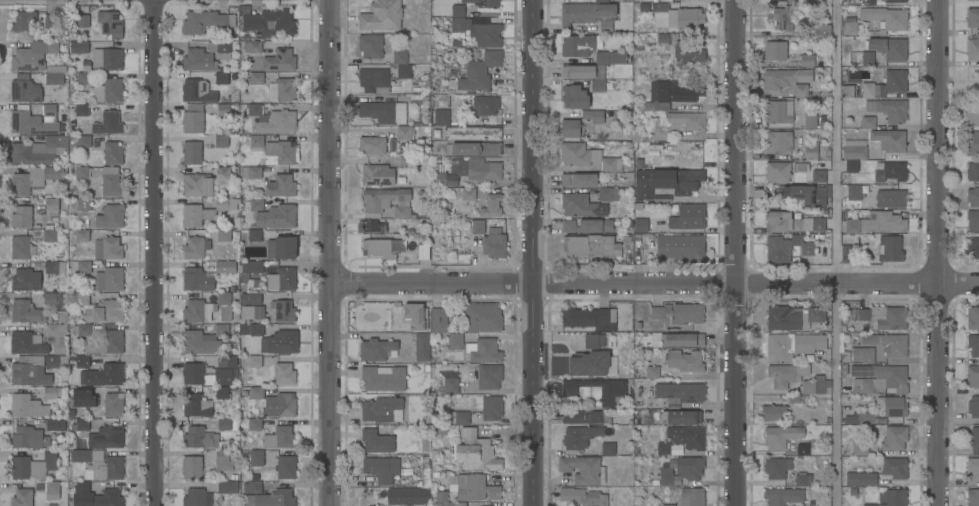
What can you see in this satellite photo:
building: (778, 0)
building: (601, 1)
building: (666, 1)
building: (895, 1)
building: (483, 2)
building: (662, 7)
building: (457, 10)
building: (585, 13)
building: (381, 15)
building: (689, 17)
building: (972, 17)
building: (782, 18)
building: (885, 19)
building: (49, 20)
building: (83, 21)
building: (206, 21)
building: (24, 23)
building: (110, 23)
building: (269, 23)
building: (605, 26)
building: (851, 27)
building: (822, 30)
building: (479, 31)
building: (663, 38)
building: (645, 40)
building: (370, 45)
building: (577, 45)
building: (78, 46)
building: (252, 46)
building: (889, 48)
building: (224, 49)
building: (973, 49)
building: (775, 50)
building: (688, 51)
building: (33, 55)
building: (400, 57)
building: (611, 57)
building: (868, 58)
building: (107, 59)
building: (198, 60)
building: (279, 60)
building: (806, 60)
building: (404, 71)
building: (479, 71)
building: (583, 71)
building: (785, 77)
building: (54, 78)
building: (83, 78)
building: (221, 78)
building: (256, 78)
building: (373, 80)
building: (886, 81)
building: (597, 85)
building: (285, 89)
building: (197, 90)
building: (800, 90)
building: (25, 91)
building: (107, 91)
building: (846, 91)
building: (669, 94)
building: (574, 97)
building: (418, 100)
building: (485, 105)
building: (223, 108)
building: (81, 109)
building: (892, 110)
building: (384, 111)
building: (49, 112)
building: (776, 112)
building: (971, 114)
building: (439, 117)
building: (193, 118)
building: (814, 119)
building: (272, 120)
building: (585, 122)
building: (868, 122)
building: (31, 123)
building: (107, 123)
building: (676, 123)
building: (404, 132)
building: (471, 133)
building: (221, 140)
building: (889, 140)
building: (83, 141)
building: (779, 141)
building: (972, 142)
building: (372, 145)
building: (473, 148)
building: (38, 151)
building: (855, 151)
building: (112, 152)
building: (192, 152)
building: (810, 152)
building: (578, 154)
building: (269, 155)
building: (406, 162)
building: (612, 164)
building: (800, 166)
building: (852, 166)
building: (777, 171)
building: (890, 171)
building: (972, 171)
building: (81, 172)
building: (223, 172)
building: (468, 172)
building: (377, 175)
building: (818, 176)
building: (34, 179)
building: (579, 180)
building: (666, 181)
building: (111, 182)
building: (198, 185)
building: (280, 185)
building: (854, 192)
building: (807, 193)
building: (468, 194)
building: (608, 194)
building: (972, 196)
building: (383, 198)
building: (890, 198)
building: (581, 205)
building: (52, 206)
building: (491, 206)
building: (83, 207)
building: (206, 211)
building: (401, 211)
building: (271, 213)
building: (22, 216)
building: (110, 216)
building: (688, 216)
building: (973, 220)
building: (791, 222)
building: (876, 222)
building: (587, 225)
building: (641, 225)
building: (371, 226)
building: (477, 226)
building: (49, 234)
building: (81, 235)
building: (224, 235)
building: (254, 235)
building: (494, 245)
building: (590, 245)
building: (803, 245)
building: (21, 247)
building: (195, 247)
building: (285, 247)
building: (681, 247)
building: (972, 247)
building: (108, 248)
building: (378, 248)
building: (889, 248)
building: (778, 249)
building: (423, 251)
road: (330, 252)
road: (732, 252)
road: (935, 252)
road: (159, 253)
road: (536, 253)
road: (835, 253)
building: (845, 253)
building: (67, 266)
building: (224, 266)
building: (252, 266)
building: (194, 278)
building: (23, 279)
building: (109, 279)
building: (282, 279)
road: (654, 282)
building: (55, 298)
building: (224, 305)
building: (251, 306)
building: (100, 308)
building: (283, 310)
building: (26, 311)
building: (198, 311)
building: (679, 313)
building: (816, 314)
building: (62, 315)
building: (416, 315)
building: (482, 316)
building: (586, 316)
building: (785, 316)
building: (881, 317)
building: (973, 318)
building: (438, 320)
building: (82, 329)
building: (251, 329)
building: (57, 336)
building: (676, 339)
building: (204, 340)
building: (593, 340)
building: (283, 341)
building: (456, 341)
building: (27, 342)
building: (110, 342)
building: (889, 343)
building: (792, 344)
building: (973, 345)
building: (422, 347)
building: (377, 349)
building: (484, 350)
building: (863, 354)
building: (82, 361)
building: (254, 361)
building: (685, 361)
building: (55, 362)
building: (592, 363)
building: (29, 371)
building: (653, 371)
building: (211, 372)
building: (284, 373)
building: (786, 374)
building: (883, 374)
building: (103, 375)
building: (489, 376)
building: (973, 376)
building: (383, 377)
building: (451, 385)
building: (816, 385)
building: (867, 385)
building: (223, 391)
building: (613, 391)
building: (52, 392)
building: (680, 392)
building: (86, 396)
building: (274, 402)
building: (113, 404)
building: (196, 405)
building: (27, 406)
building: (894, 406)
building: (973, 406)
building: (491, 407)
building: (382, 409)
building: (773, 411)
building: (679, 416)
building: (457, 417)
building: (585, 417)
building: (866, 417)
building: (55, 424)
building: (80, 424)
building: (227, 424)
building: (254, 424)
building: (107, 436)
building: (580, 436)
building: (687, 436)
building: (781, 436)
building: (28, 437)
building: (198, 437)
building: (279, 437)
building: (894, 438)
building: (975, 440)
building: (377, 441)
building: (860, 446)
building: (608, 448)
building: (662, 448)
building: (802, 449)
building: (476, 451)
building: (255, 457)
building: (223, 460)
building: (863, 463)
building: (99, 464)
building: (34, 465)
building: (192, 467)
building: (286, 467)
building: (690, 467)
building: (777, 467)
building: (380, 468)
building: (895, 468)
building: (583, 469)
building: (973, 469)
building: (664, 476)
building: (860, 478)
building: (803, 479)
building: (82, 487)
building: (227, 487)
building: (252, 487)
building: (472, 487)
building: (52, 490)
building: (407, 496)
building: (691, 496)
building: (783, 496)
building: (22, 497)
building: (197, 497)
building: (582, 497)
building: (973, 497)
building: (108, 498)
building: (272, 498)
building: (890, 498)
building: (456, 504)
building: (498, 505)
building: (669, 505)

